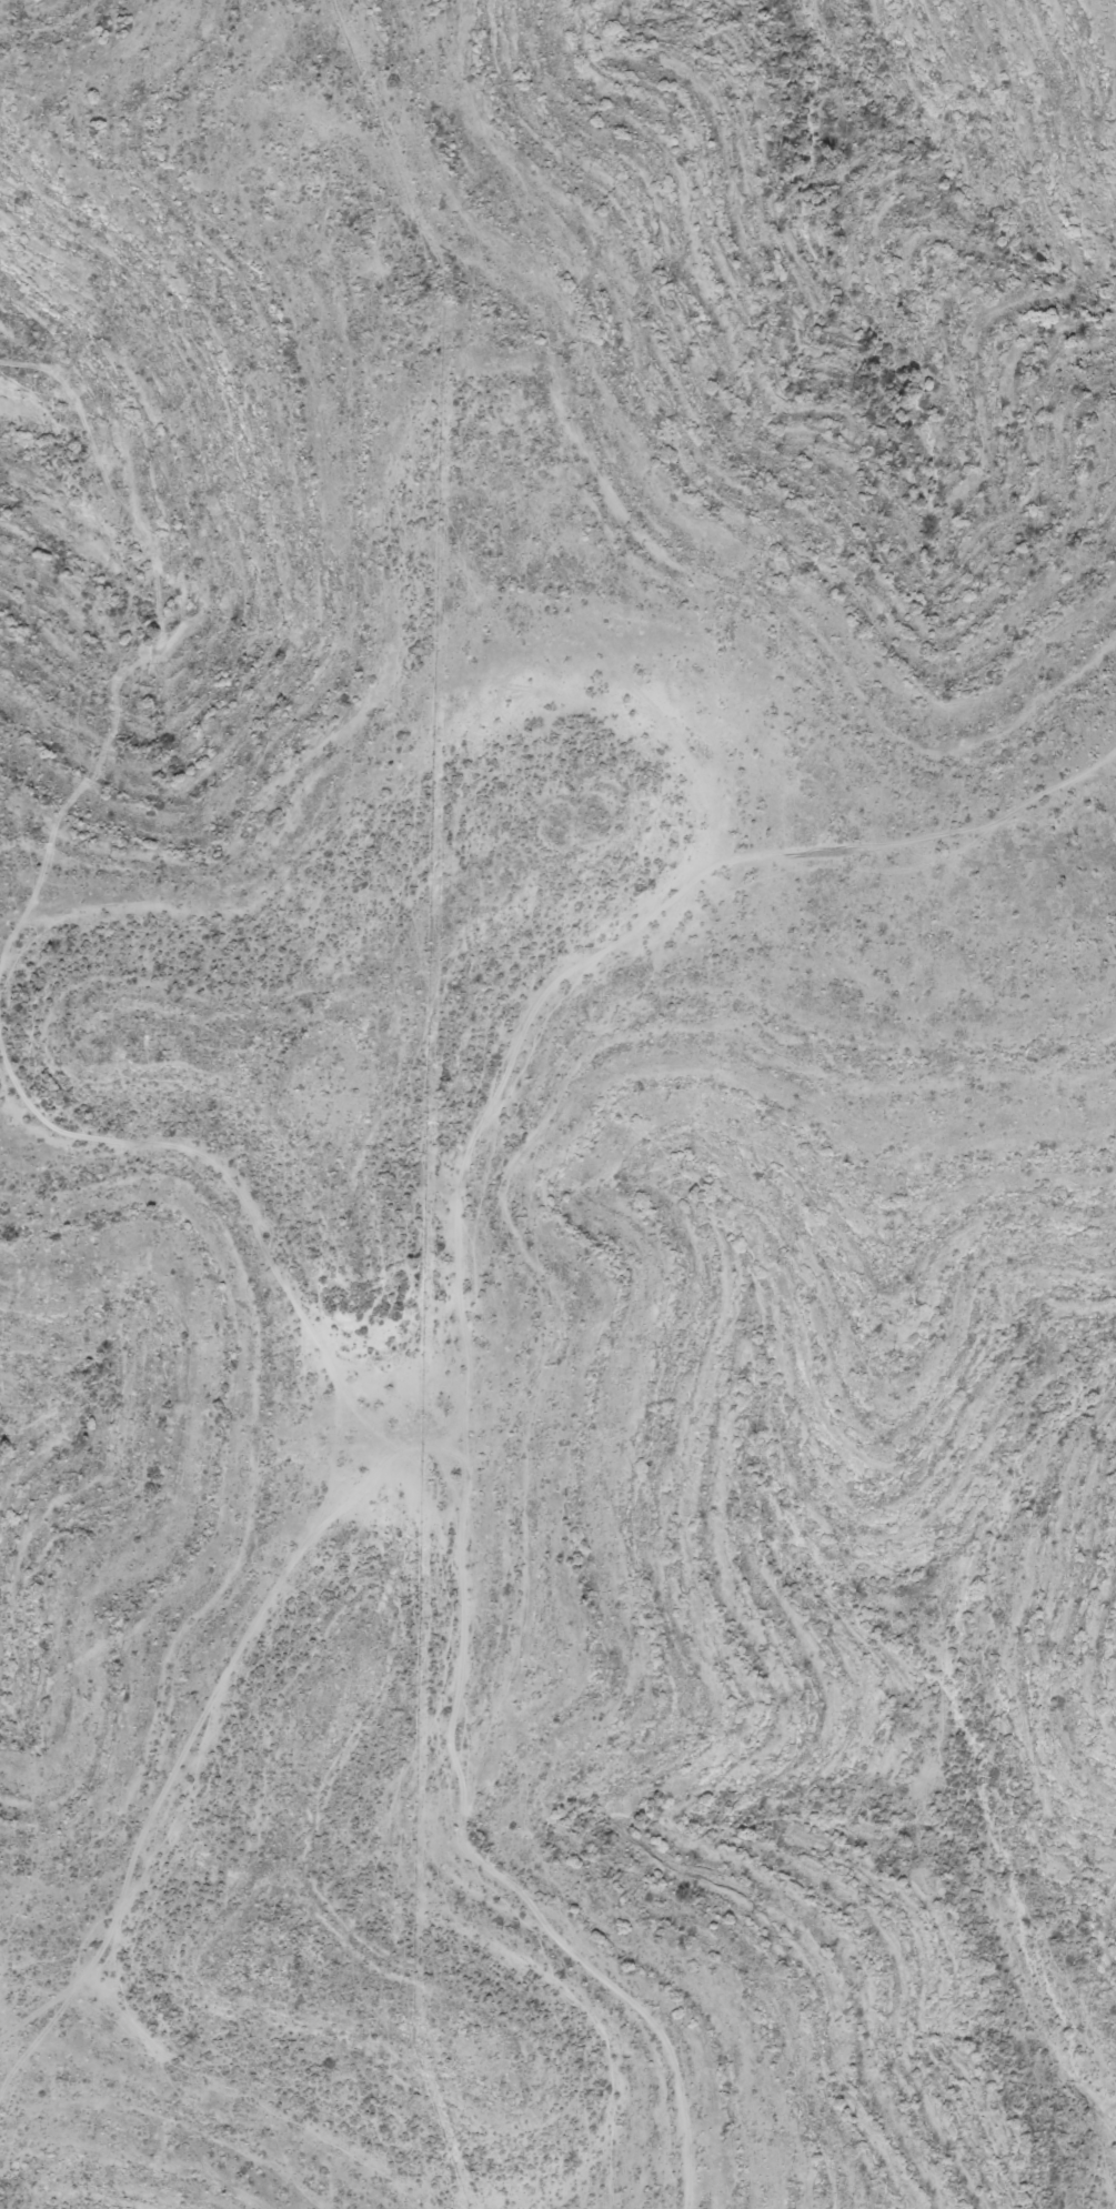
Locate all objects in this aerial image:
road: (181, 581)
road: (240, 1187)
road: (473, 1307)

